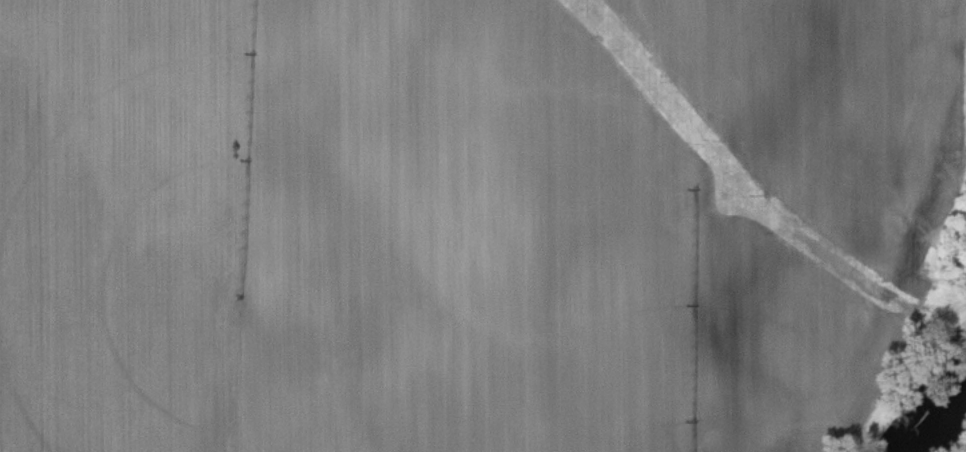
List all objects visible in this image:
river: (947, 430)

